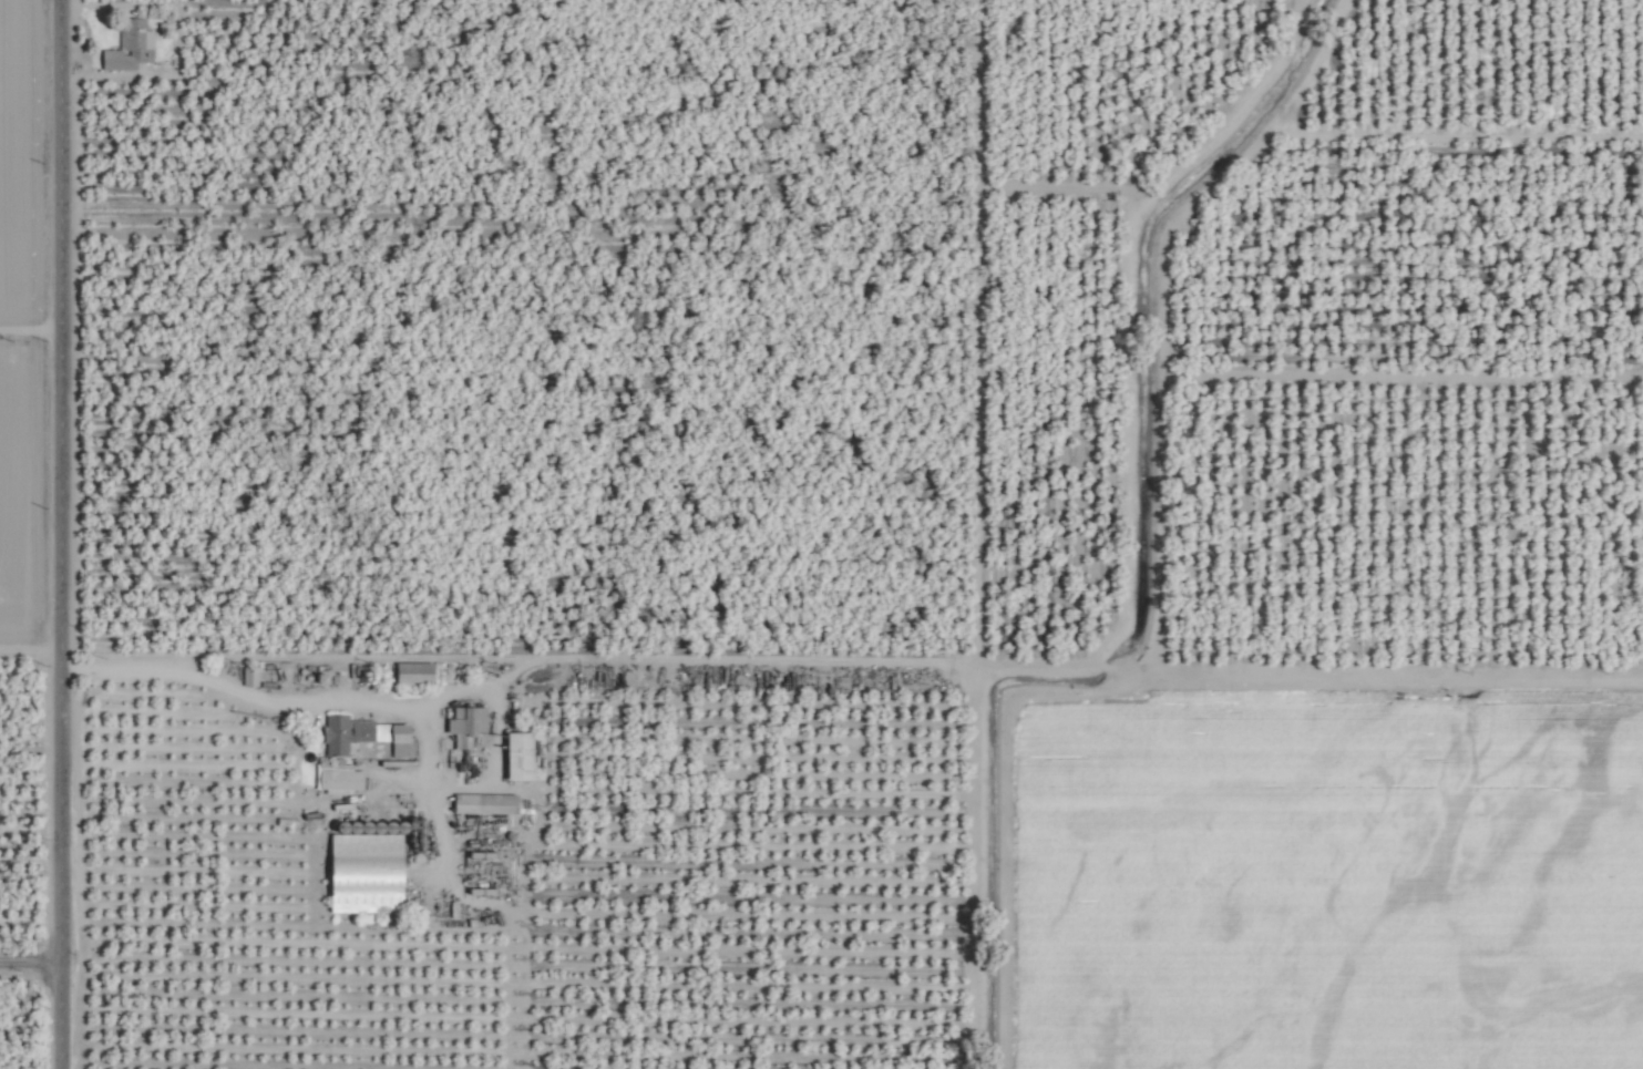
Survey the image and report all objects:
building: (126, 47)
road: (32, 329)
road: (64, 534)
crop: (821, 534)
building: (409, 675)
road: (225, 686)
building: (462, 724)
building: (360, 736)
building: (512, 757)
building: (333, 780)
building: (480, 804)
road: (32, 958)

